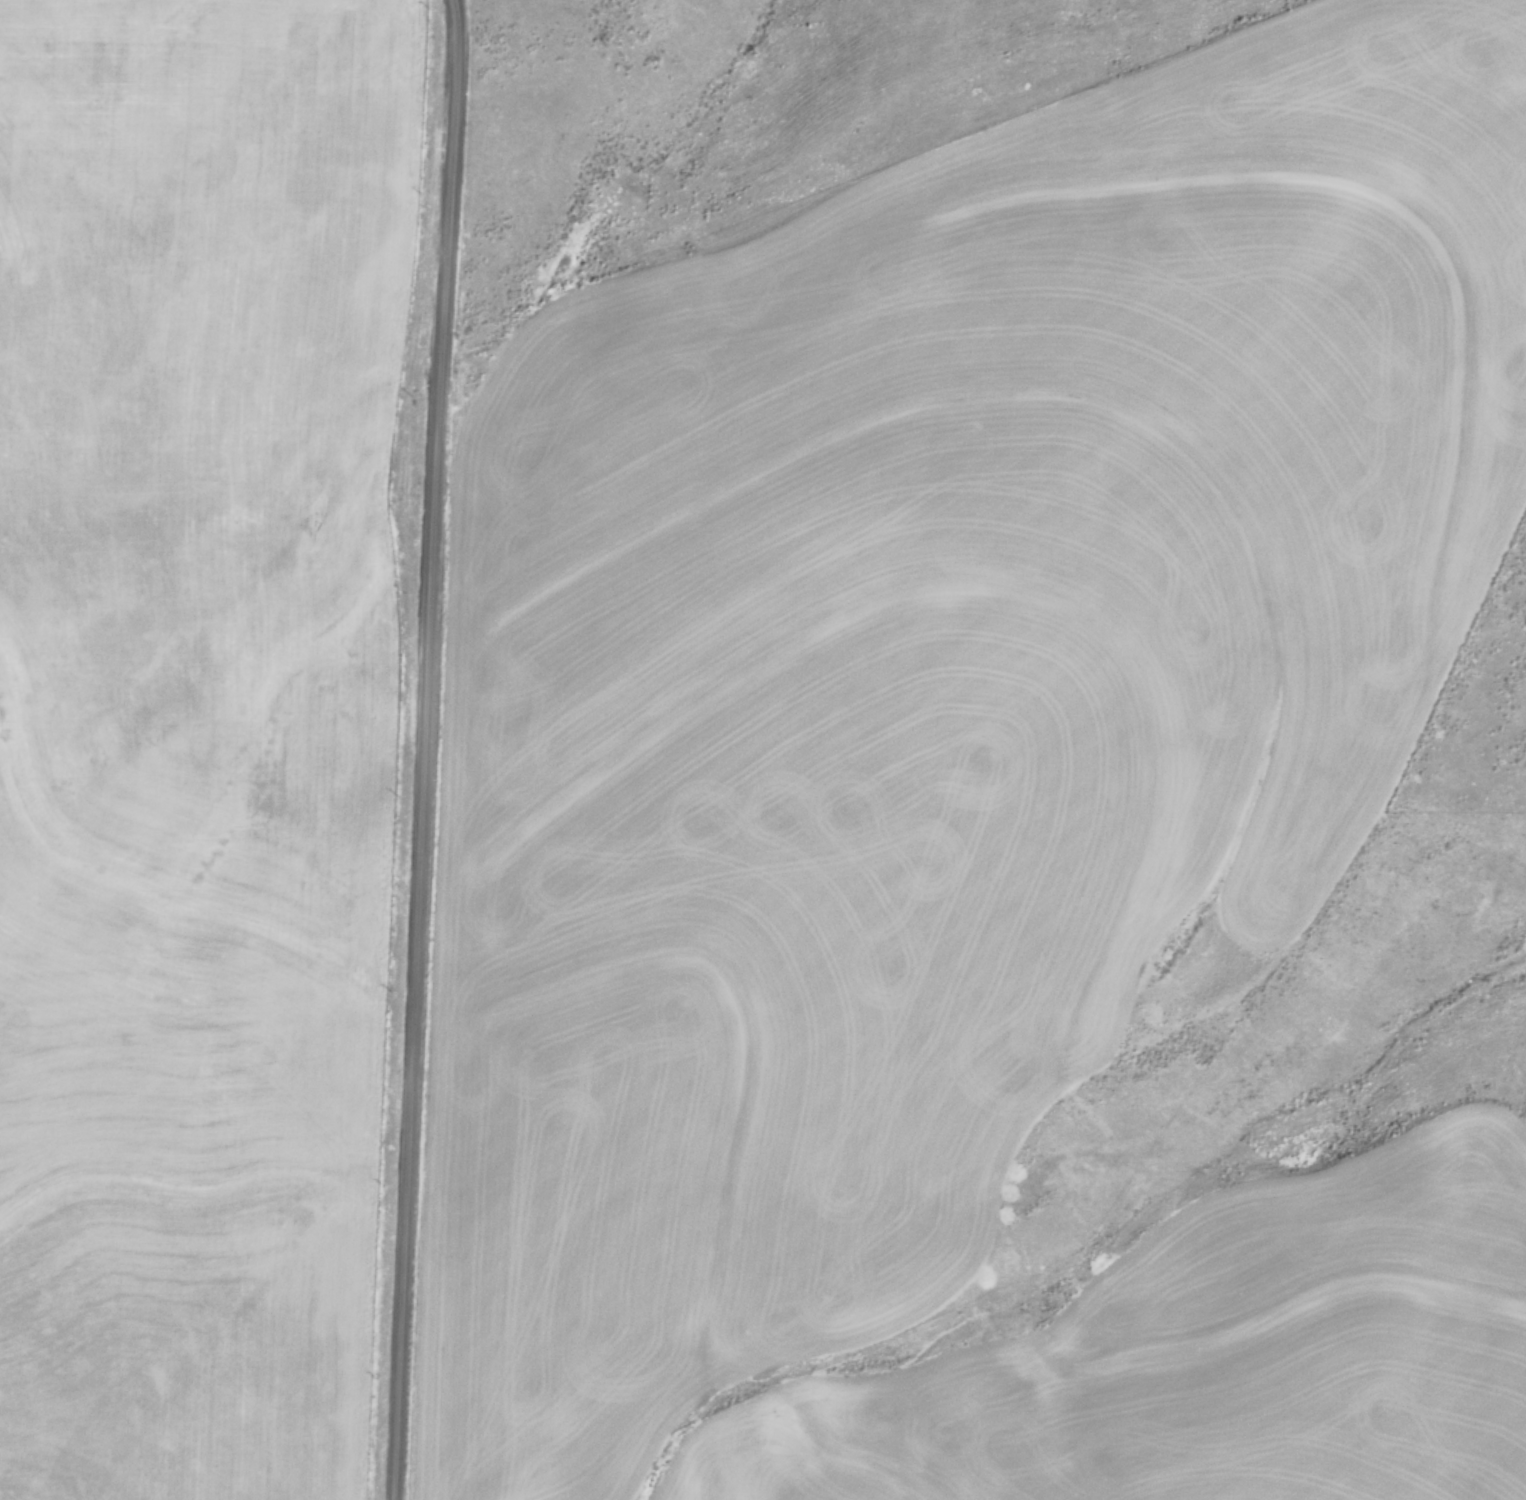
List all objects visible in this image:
road: (427, 749)

